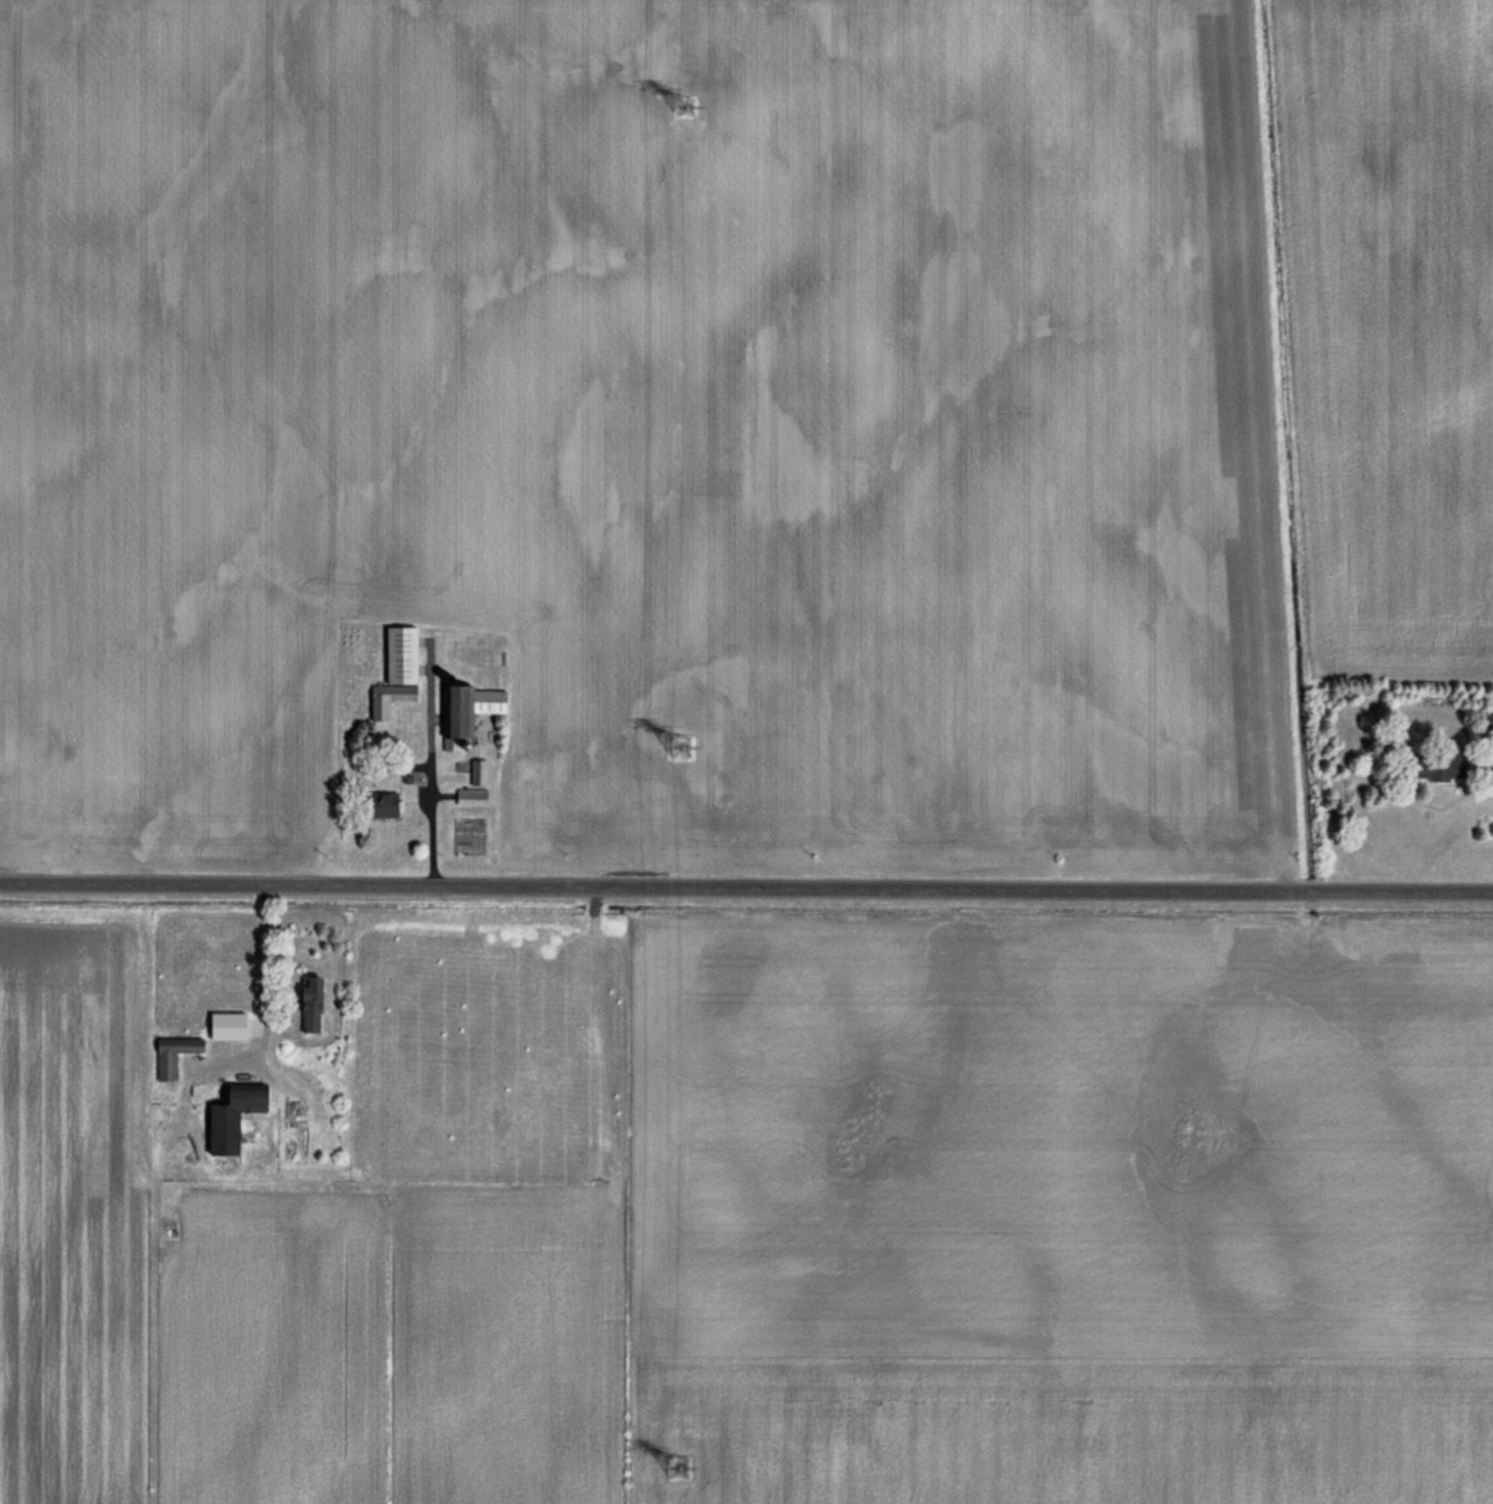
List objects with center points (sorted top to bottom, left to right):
power tower: (681, 106)
building: (394, 671)
building: (464, 707)
power tower: (675, 749)
building: (1430, 766)
building: (477, 772)
building: (376, 804)
road: (430, 826)
road: (746, 889)
building: (305, 1004)
building: (164, 1058)
building: (226, 1116)
power tower: (676, 1465)

